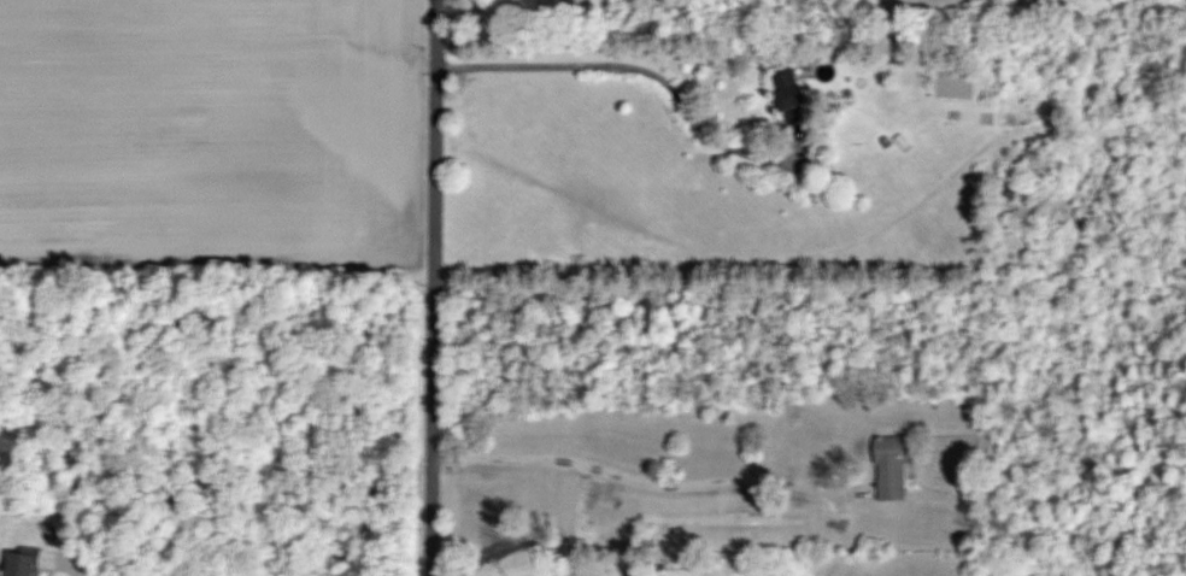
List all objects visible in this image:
road: (635, 66)
road: (436, 287)
building: (896, 466)
road: (635, 481)
building: (25, 565)

